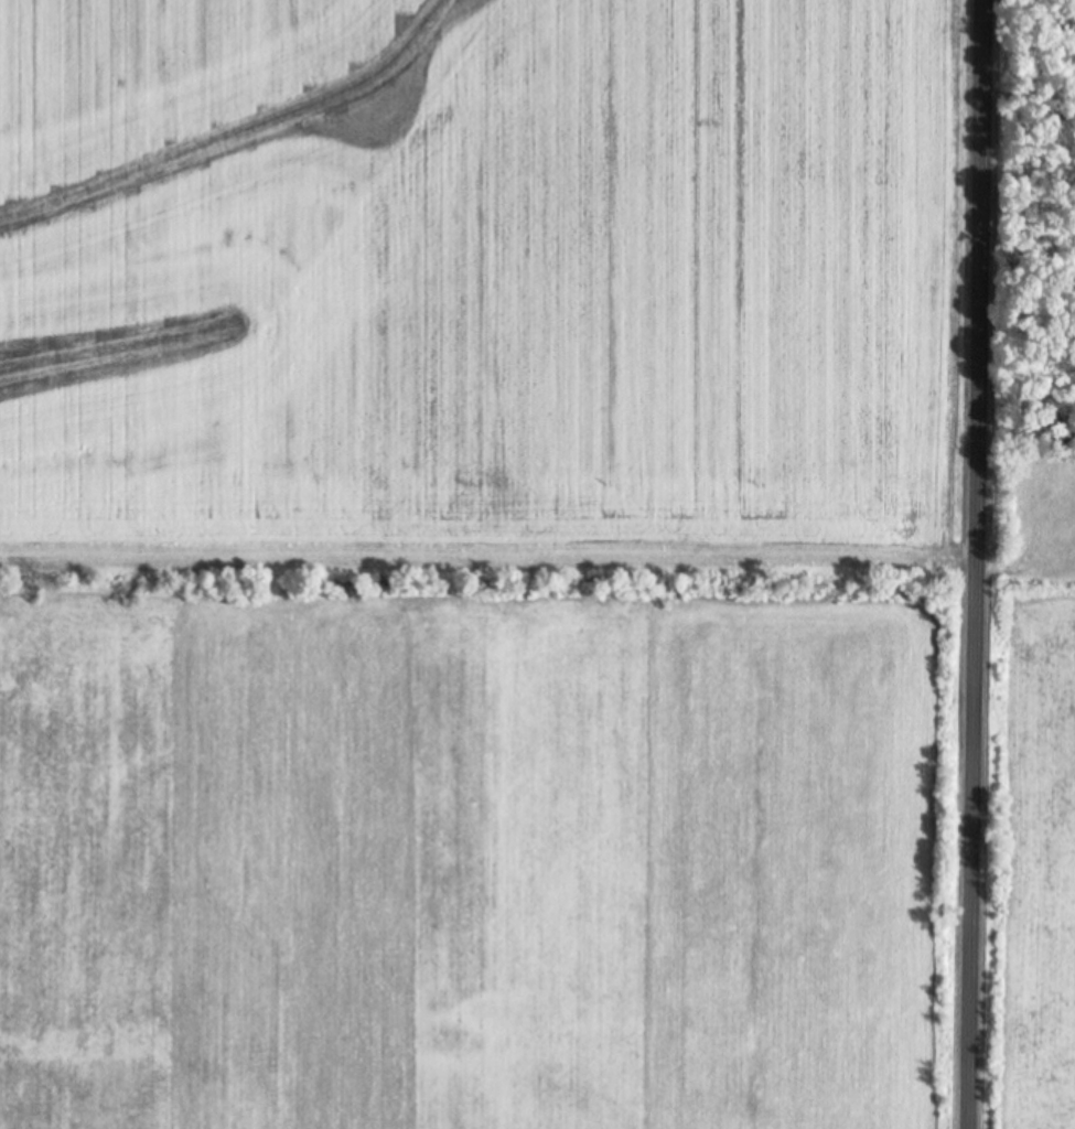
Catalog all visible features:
road: (967, 564)

